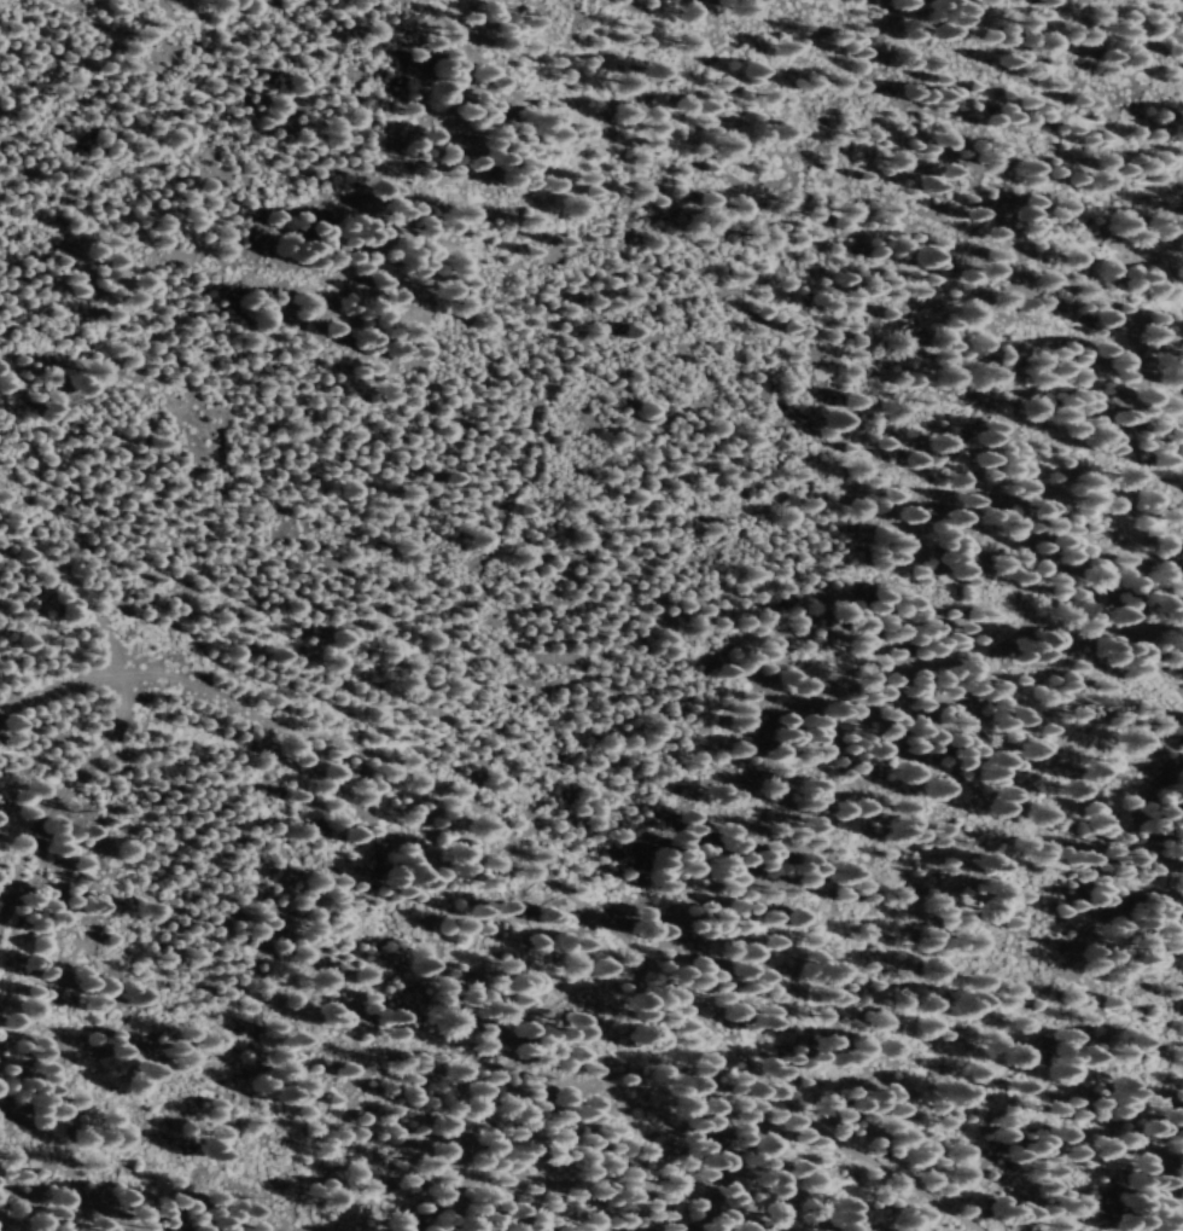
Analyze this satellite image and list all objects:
road: (1171, 11)
road: (86, 562)
road: (541, 858)

